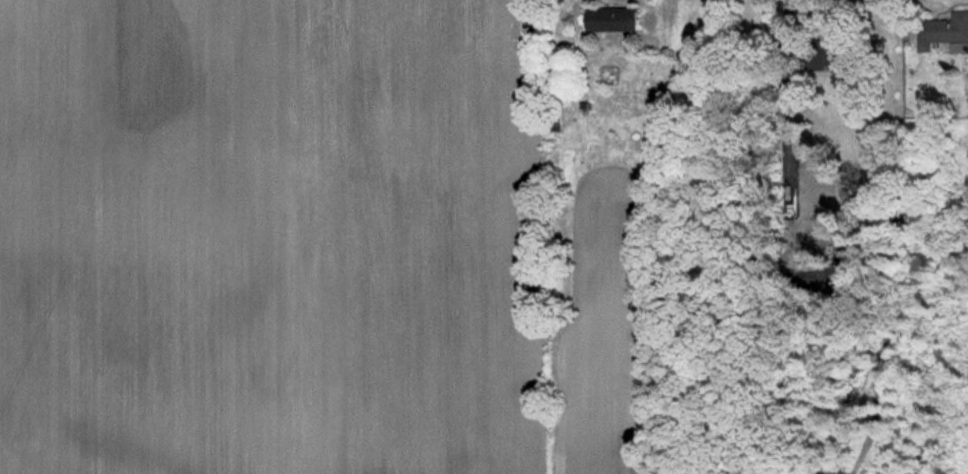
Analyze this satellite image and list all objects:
building: (612, 19)
road: (787, 28)
building: (944, 33)
building: (840, 52)

